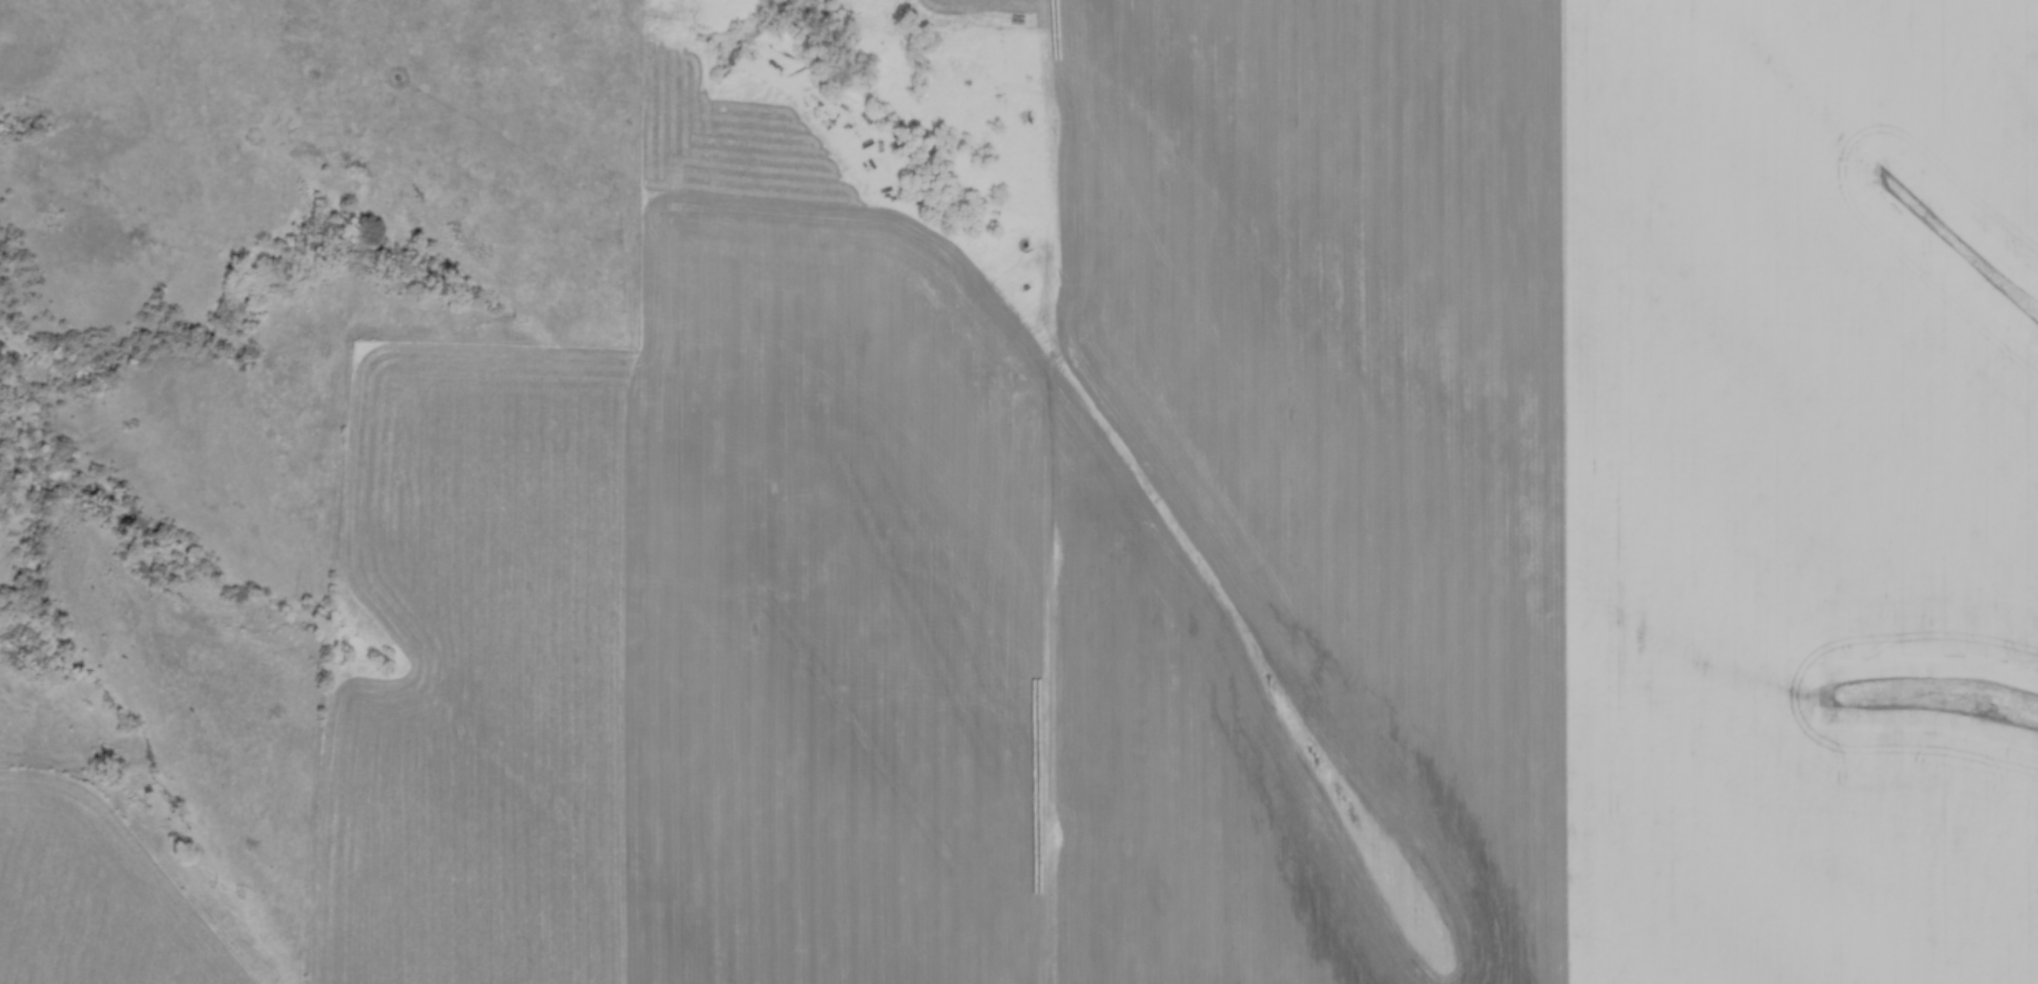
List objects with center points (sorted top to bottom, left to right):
building: (1041, 1)

